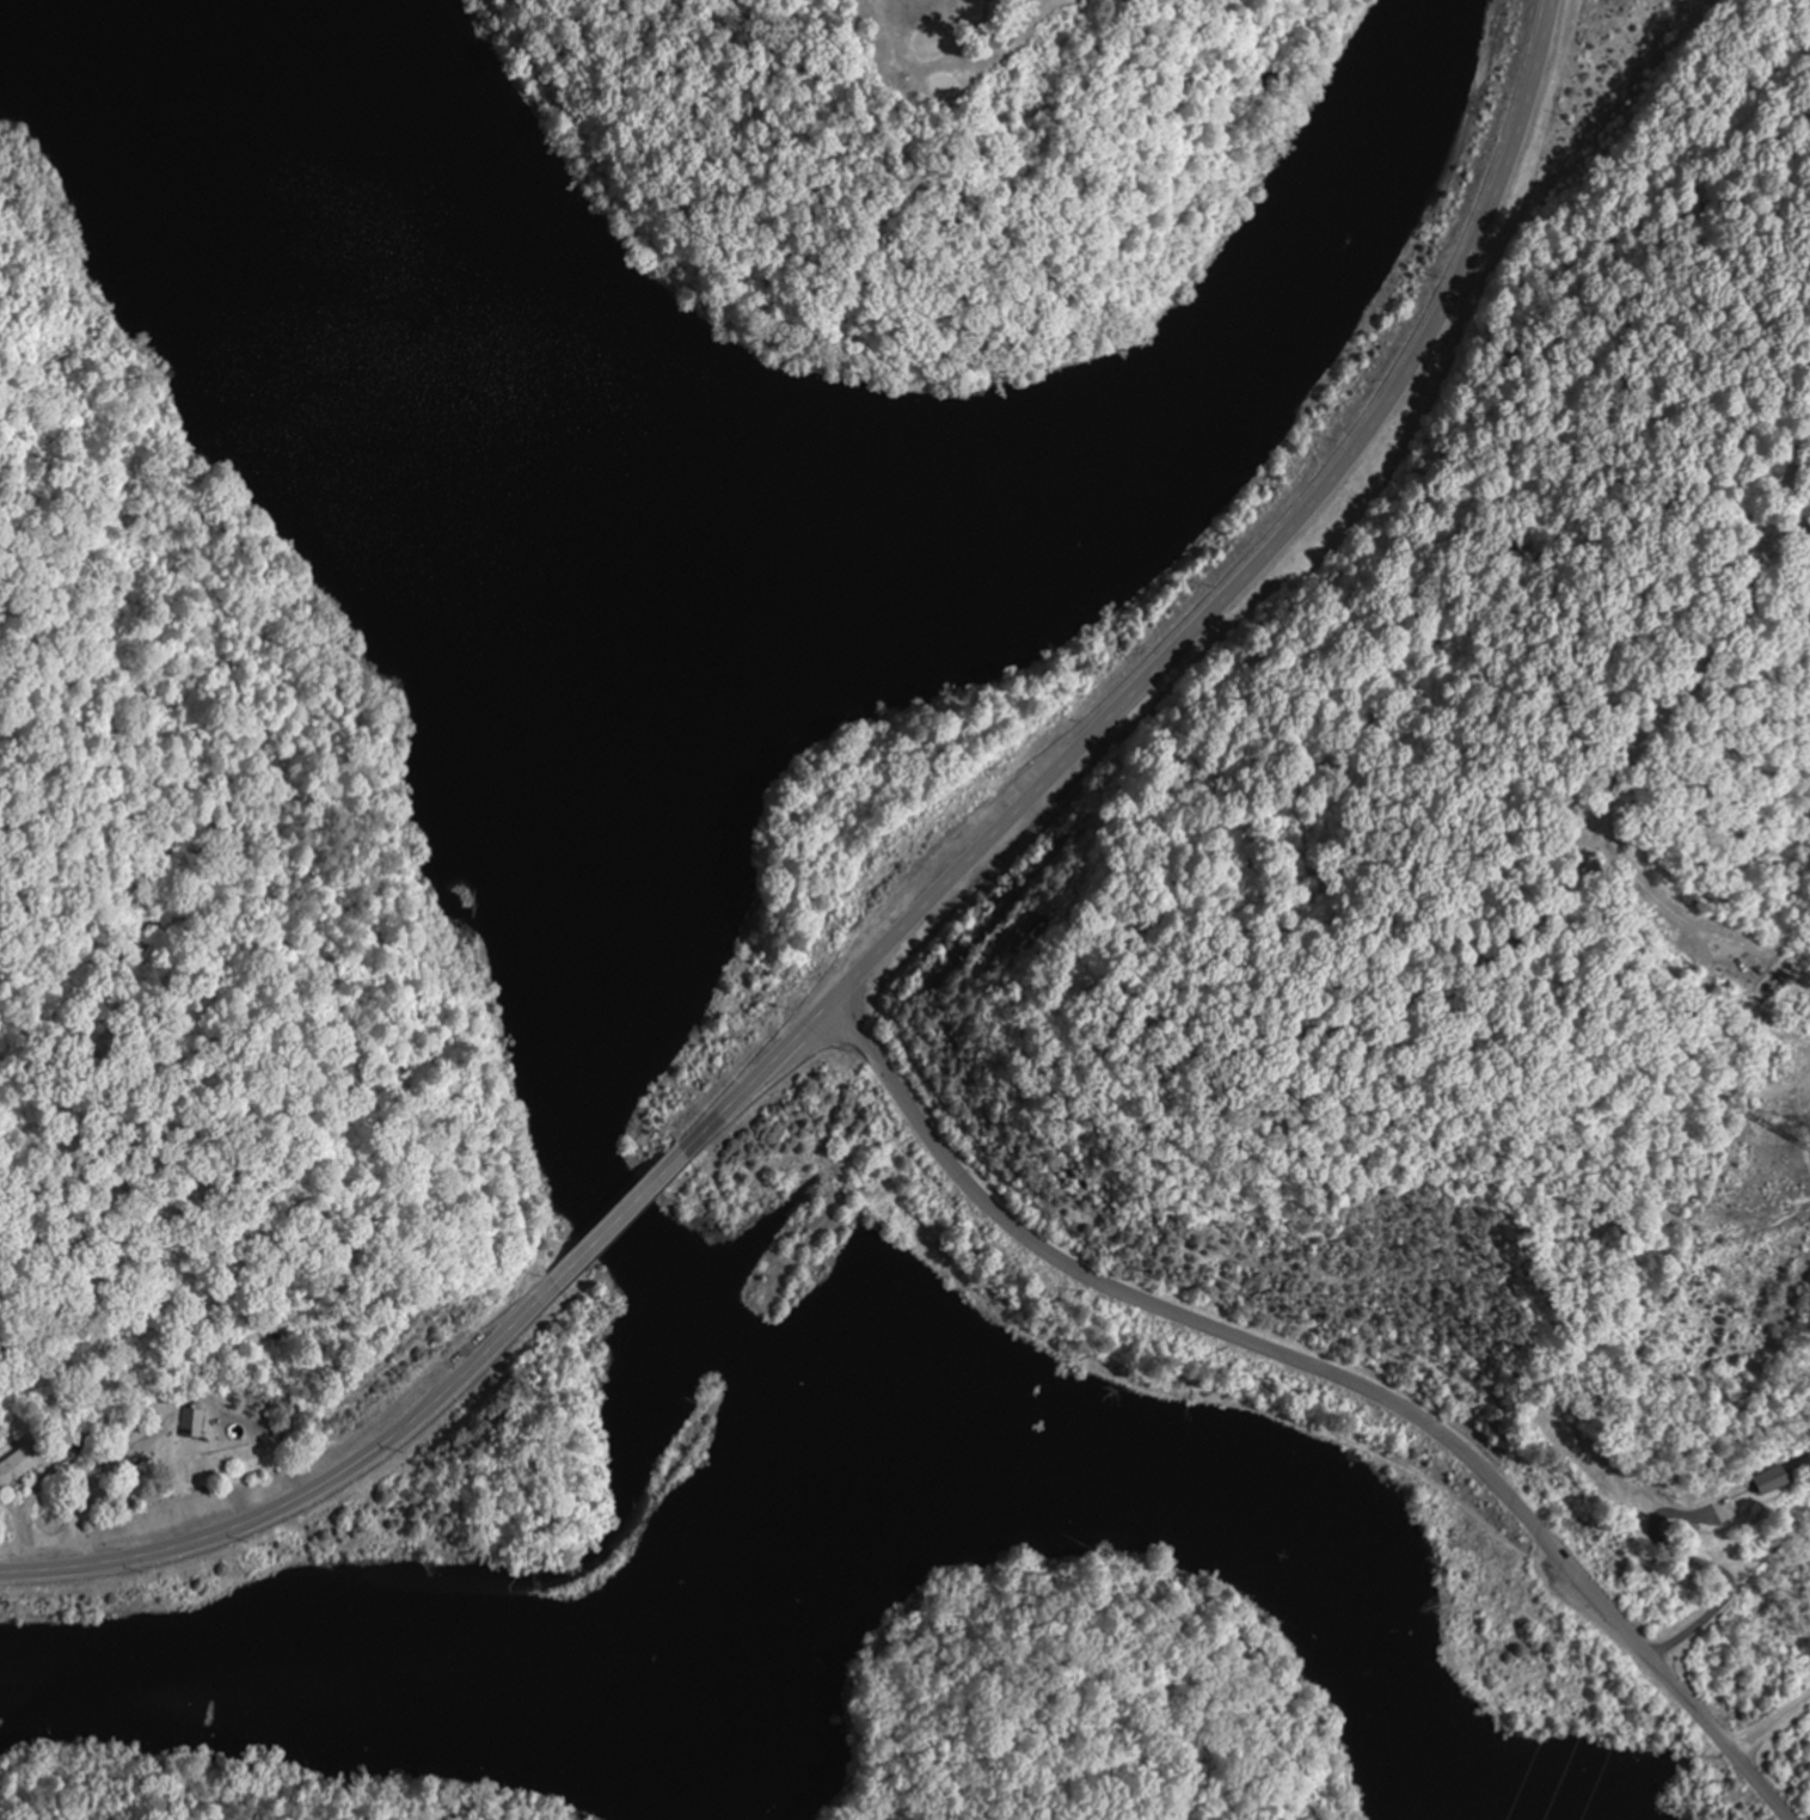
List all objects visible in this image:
road: (1013, 56)
park: (924, 159)
park: (924, 159)
river: (538, 458)
road: (1196, 626)
road: (620, 1215)
road: (1329, 1375)
building: (185, 1422)
building: (14, 1466)
building: (1772, 1479)
road: (311, 1490)
road: (1771, 1726)

